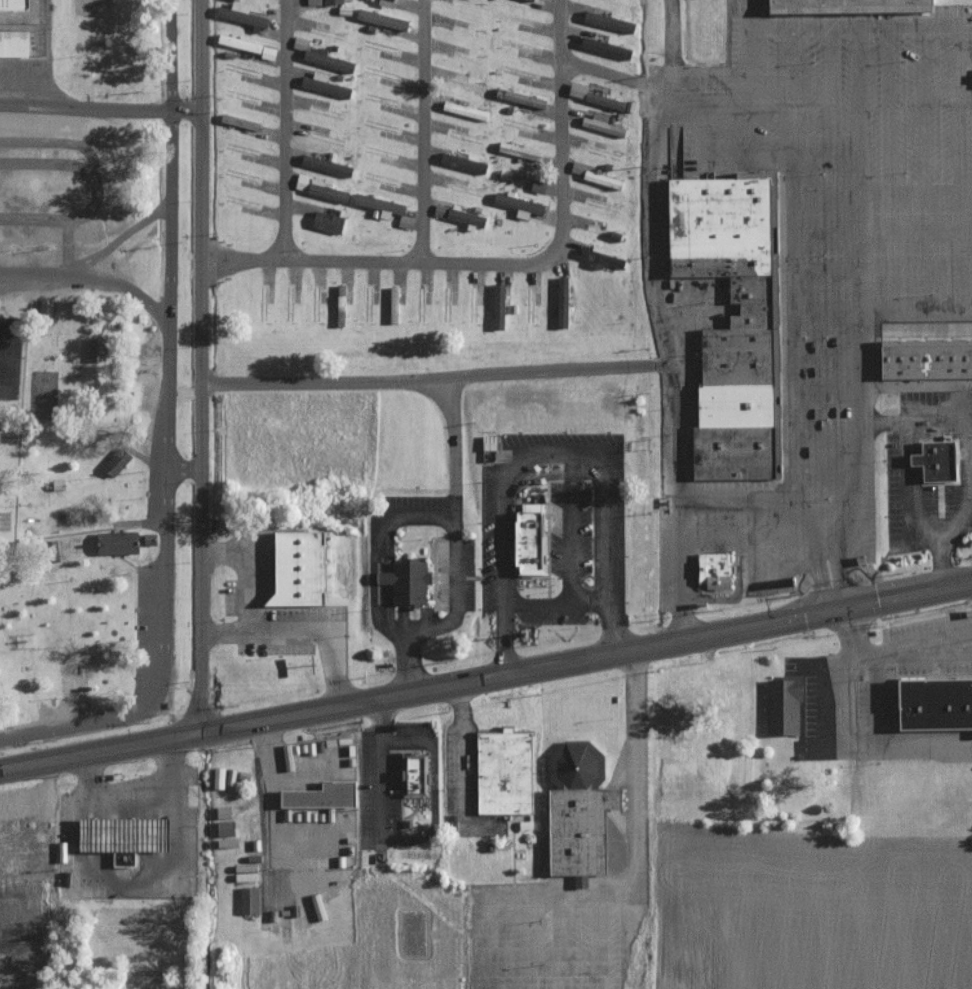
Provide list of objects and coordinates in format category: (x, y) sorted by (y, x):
building: (335, 1)
building: (315, 2)
building: (848, 6)
park: (85, 7)
road: (747, 13)
building: (242, 14)
building: (383, 18)
building: (609, 21)
road: (888, 26)
road: (669, 29)
building: (242, 42)
building: (13, 44)
building: (607, 47)
building: (312, 52)
building: (270, 53)
road: (665, 72)
road: (608, 75)
parking lot: (24, 77)
building: (328, 87)
road: (787, 87)
road: (831, 87)
road: (859, 87)
building: (580, 90)
road: (922, 107)
road: (100, 108)
road: (886, 108)
building: (466, 109)
parking lot: (28, 121)
building: (605, 126)
road: (422, 130)
road: (767, 131)
road: (58, 144)
building: (523, 150)
road: (168, 159)
building: (325, 165)
building: (579, 167)
road: (78, 169)
building: (605, 179)
building: (320, 188)
road: (908, 188)
road: (823, 190)
road: (858, 195)
building: (504, 199)
building: (441, 210)
building: (468, 217)
road: (34, 220)
building: (330, 221)
road: (915, 231)
road: (824, 232)
road: (119, 239)
road: (67, 248)
parking lot: (830, 253)
building: (603, 256)
road: (422, 260)
road: (242, 261)
road: (915, 271)
road: (824, 272)
road: (89, 279)
parking lot: (39, 291)
building: (563, 302)
building: (394, 304)
building: (343, 305)
building: (499, 306)
building: (45, 311)
road: (114, 313)
road: (825, 314)
building: (731, 322)
road: (791, 333)
building: (96, 350)
road: (825, 353)
park: (7, 357)
building: (925, 359)
road: (670, 360)
road: (201, 366)
road: (859, 369)
road: (560, 373)
road: (826, 394)
park: (43, 395)
road: (21, 406)
road: (970, 418)
park: (88, 422)
road: (451, 433)
road: (825, 435)
parking lot: (562, 441)
road: (129, 449)
parking lot: (152, 452)
road: (971, 452)
building: (935, 462)
building: (116, 463)
road: (183, 468)
road: (826, 474)
building: (57, 486)
road: (504, 489)
road: (906, 495)
parking lot: (412, 502)
road: (796, 518)
parking lot: (570, 531)
road: (573, 532)
road: (80, 533)
parking lot: (490, 539)
building: (149, 540)
building: (531, 540)
building: (115, 544)
road: (609, 555)
road: (139, 569)
building: (298, 569)
parking lot: (469, 571)
building: (714, 571)
building: (408, 583)
road: (163, 590)
road: (453, 597)
traffic signals: (840, 601)
road: (557, 606)
parking lot: (270, 612)
parking lot: (549, 618)
parking lot: (147, 628)
road: (254, 637)
road: (505, 640)
road: (327, 642)
road: (913, 651)
parking lot: (915, 663)
road: (410, 667)
road: (846, 673)
road: (487, 677)
road: (335, 684)
parking lot: (805, 694)
building: (933, 705)
parking lot: (64, 706)
building: (782, 706)
parking lot: (412, 729)
parking lot: (460, 771)
building: (504, 773)
building: (415, 775)
building: (220, 780)
parking lot: (366, 789)
parking lot: (394, 792)
road: (136, 793)
building: (322, 797)
building: (576, 813)
road: (638, 825)
building: (120, 837)
gas station: (120, 837)
road: (123, 885)
building: (251, 899)
park: (414, 933)
road: (488, 934)
parking lot: (542, 941)
road: (598, 945)

